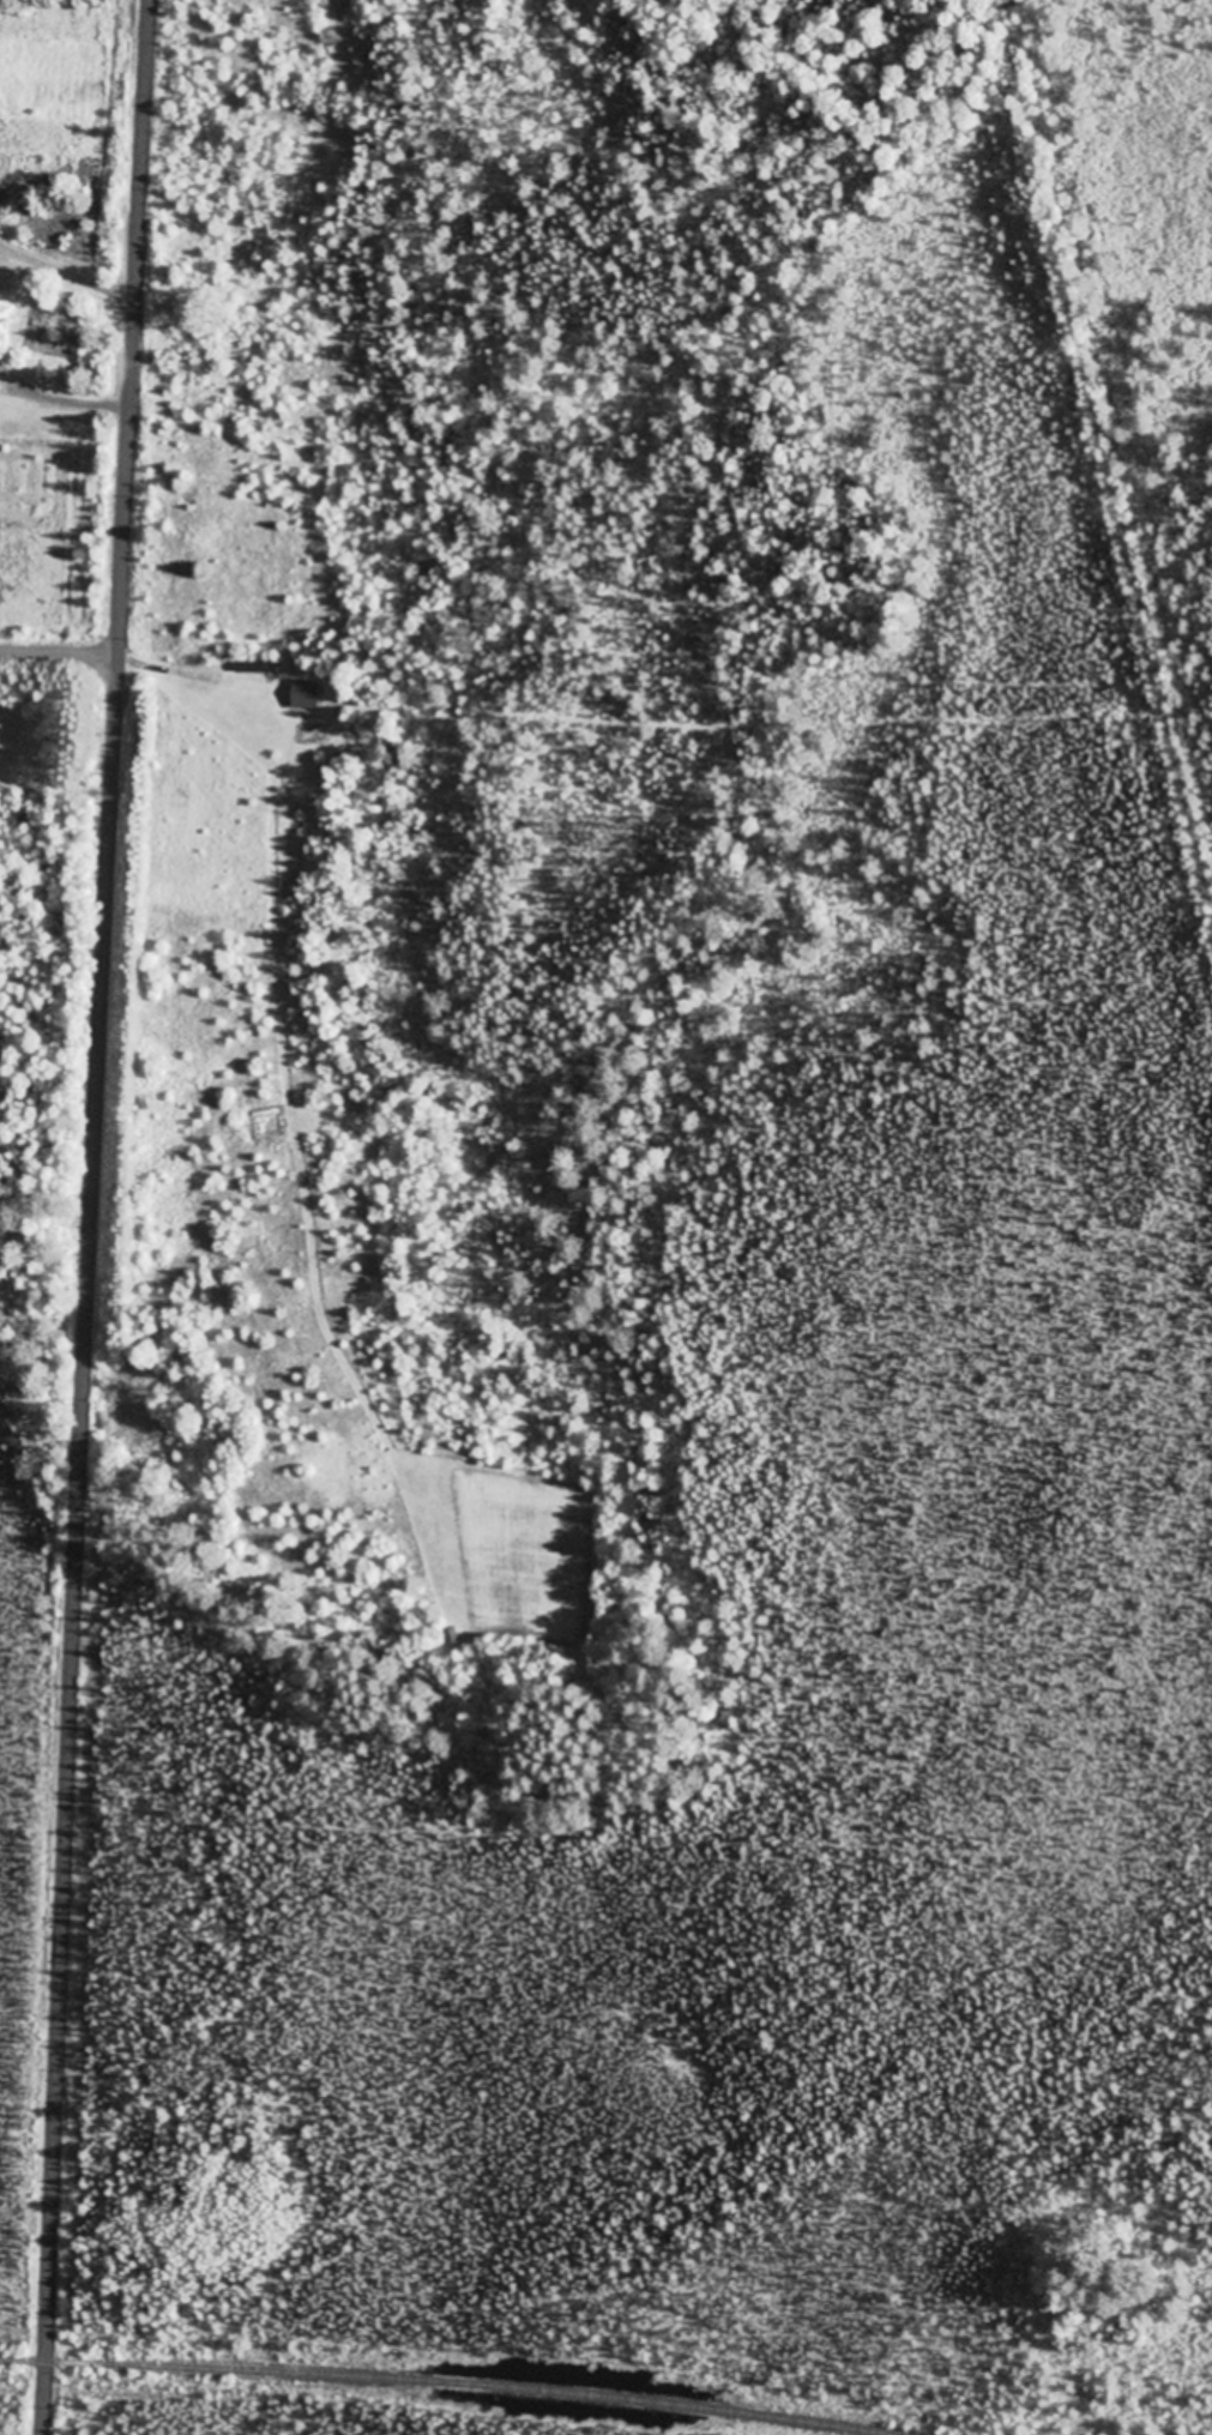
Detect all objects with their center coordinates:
building: (6, 203)
road: (59, 657)
building: (307, 695)
road: (94, 1217)
railway: (434, 2383)

